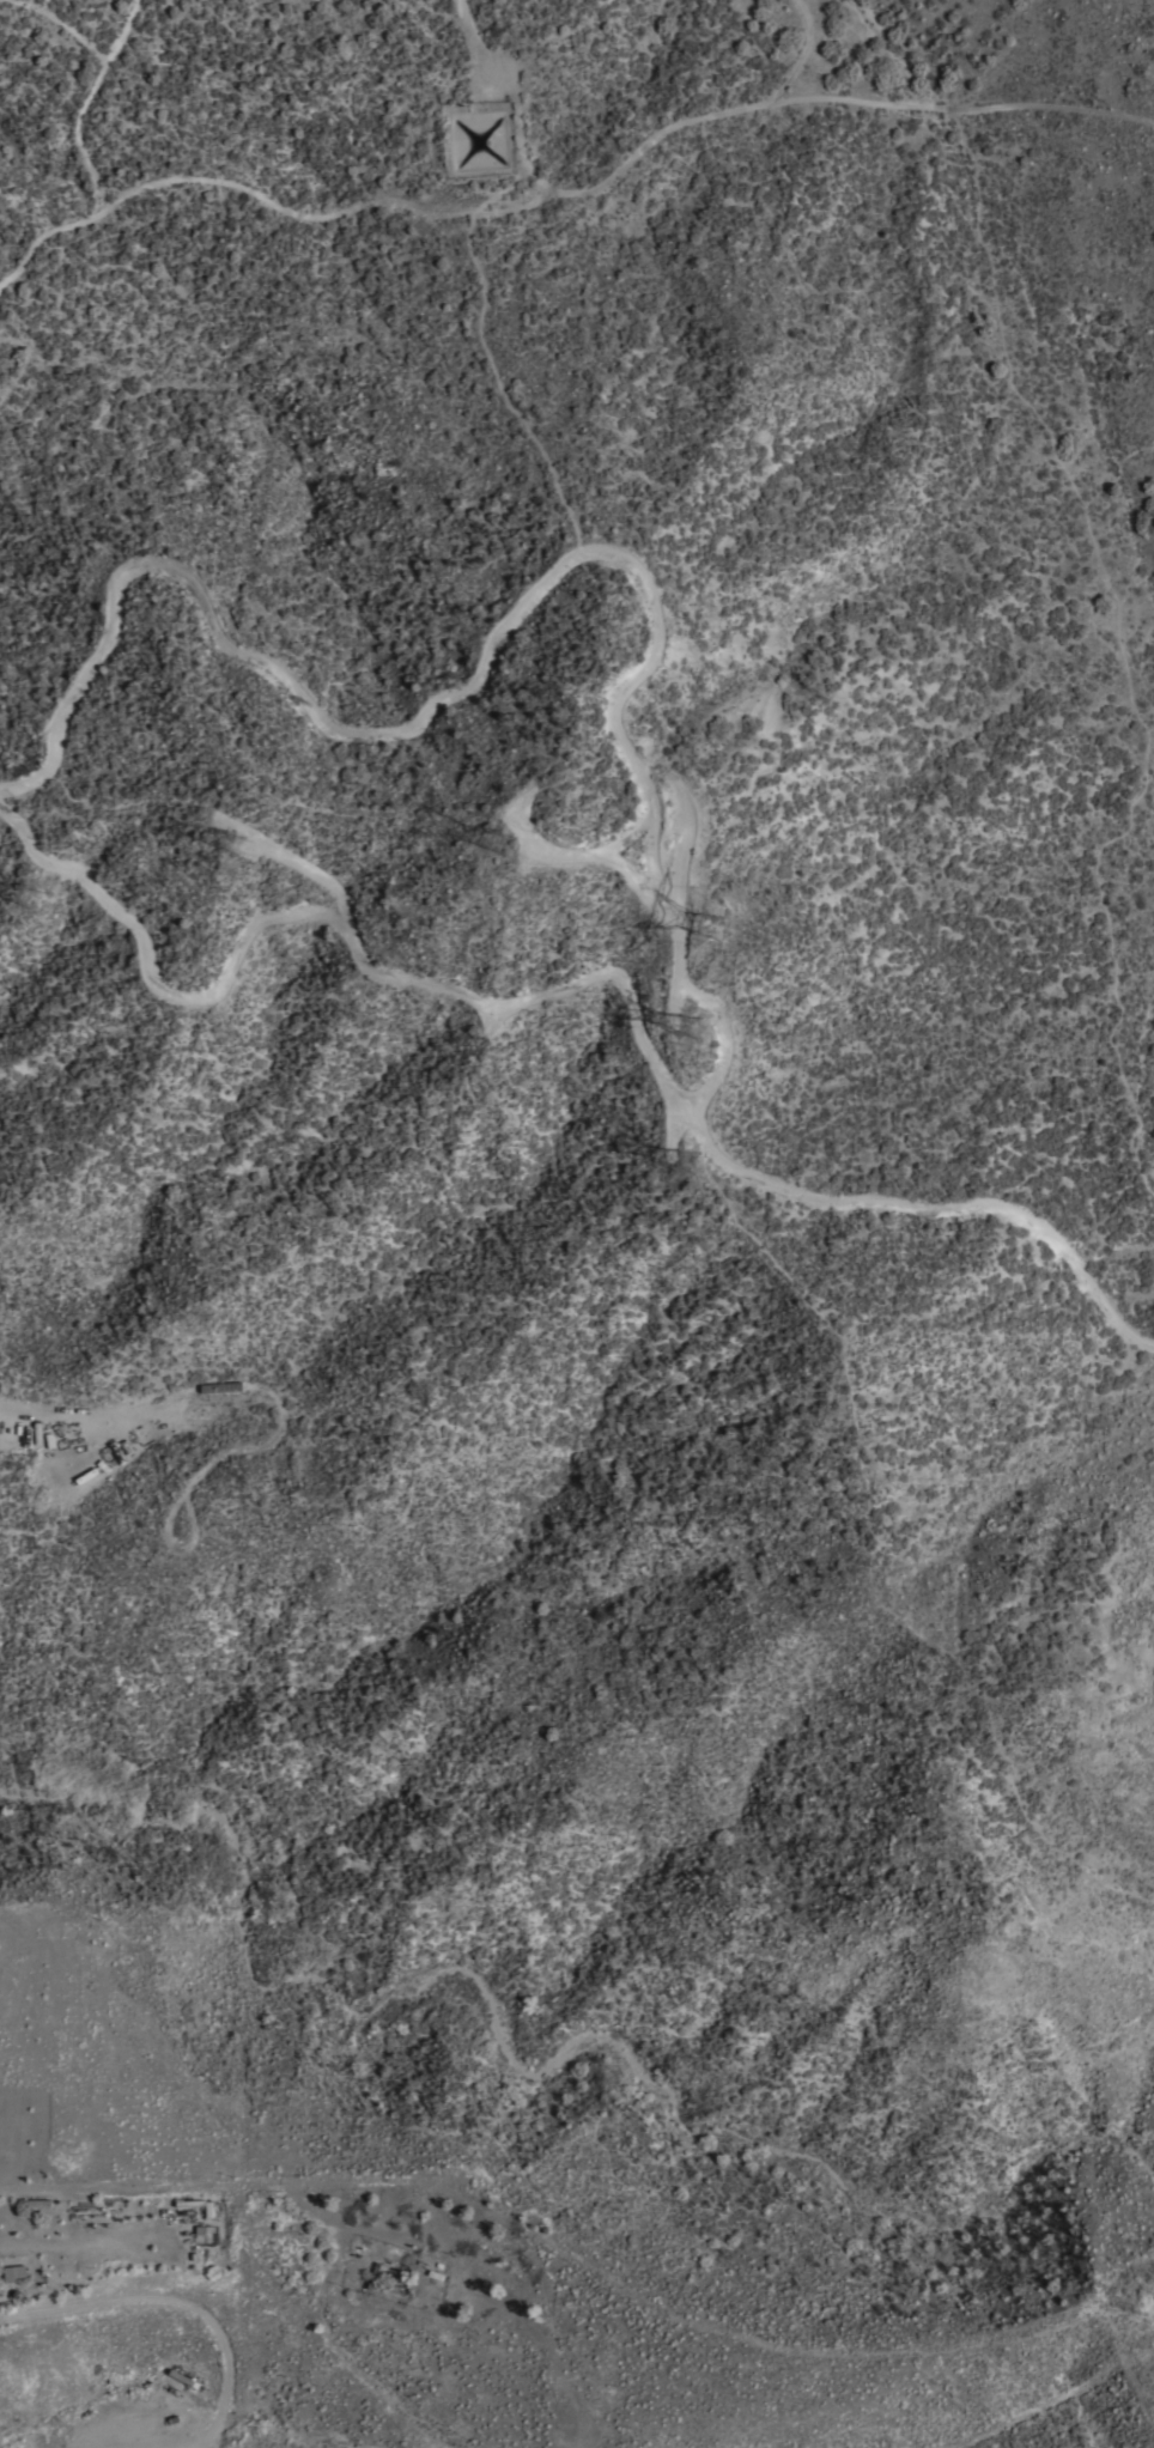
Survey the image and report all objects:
power tower: (223, 849)
power tower: (499, 850)
power tower: (32, 898)
power tower: (707, 930)
road: (587, 982)
power tower: (688, 1026)
power tower: (690, 1161)
building: (223, 1387)
road: (382, 2236)
road: (549, 2243)
building: (12, 2271)
road: (175, 2301)

